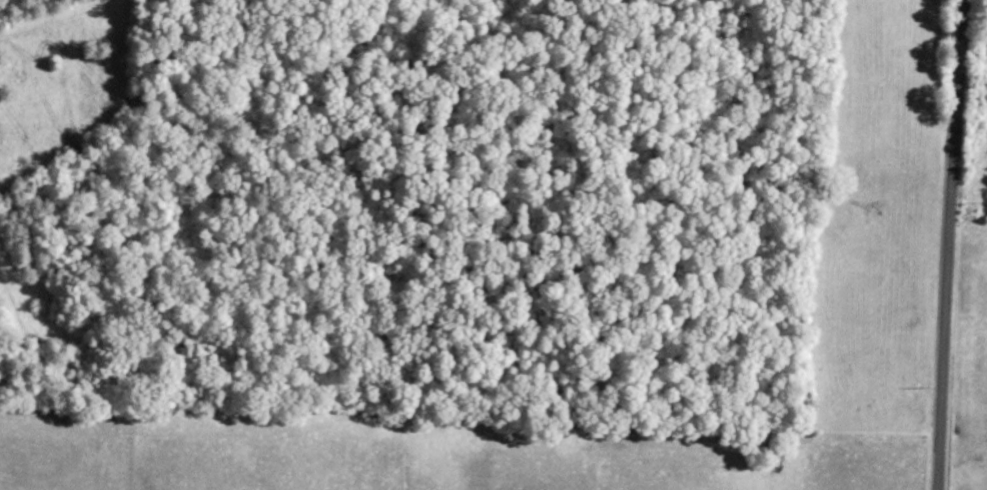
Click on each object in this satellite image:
road: (949, 244)

